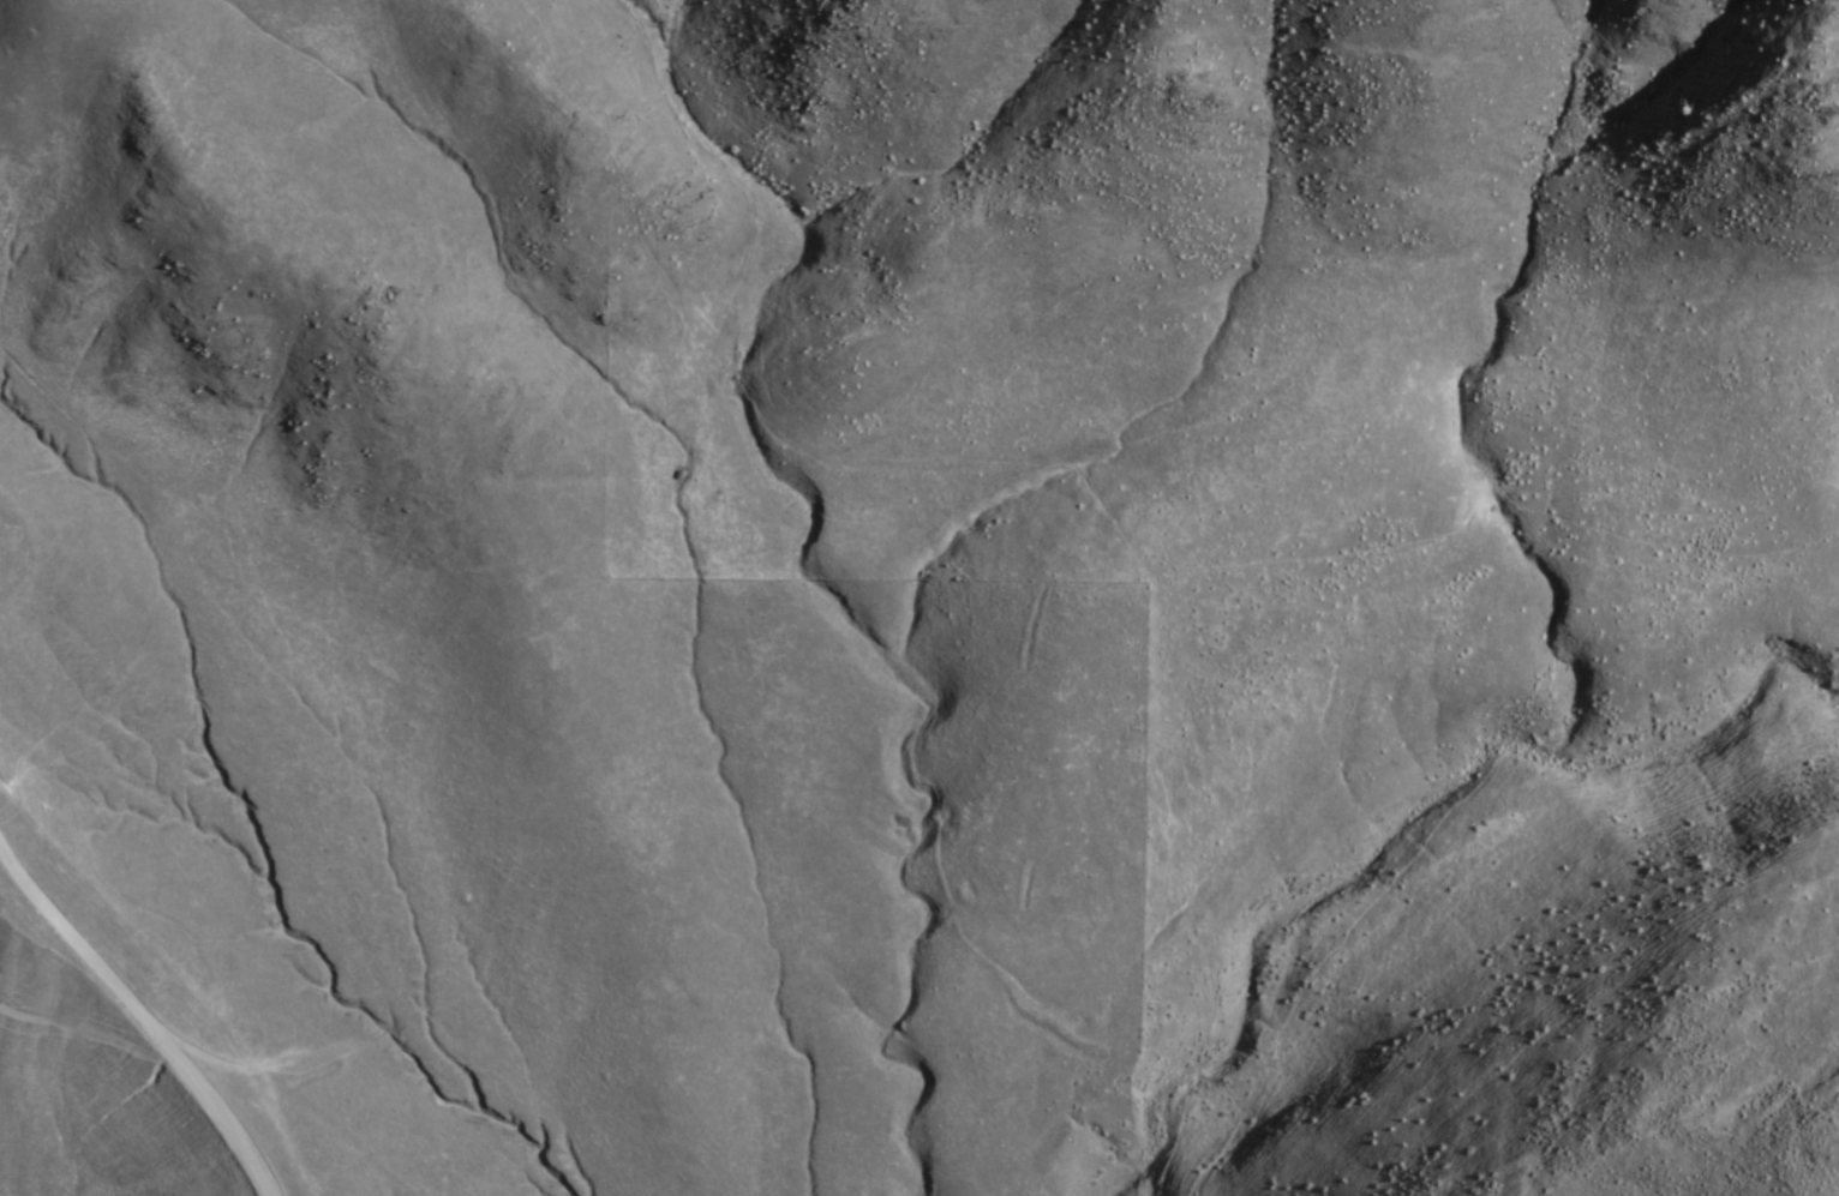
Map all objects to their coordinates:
road: (523, 680)
road: (94, 973)
road: (161, 1078)

